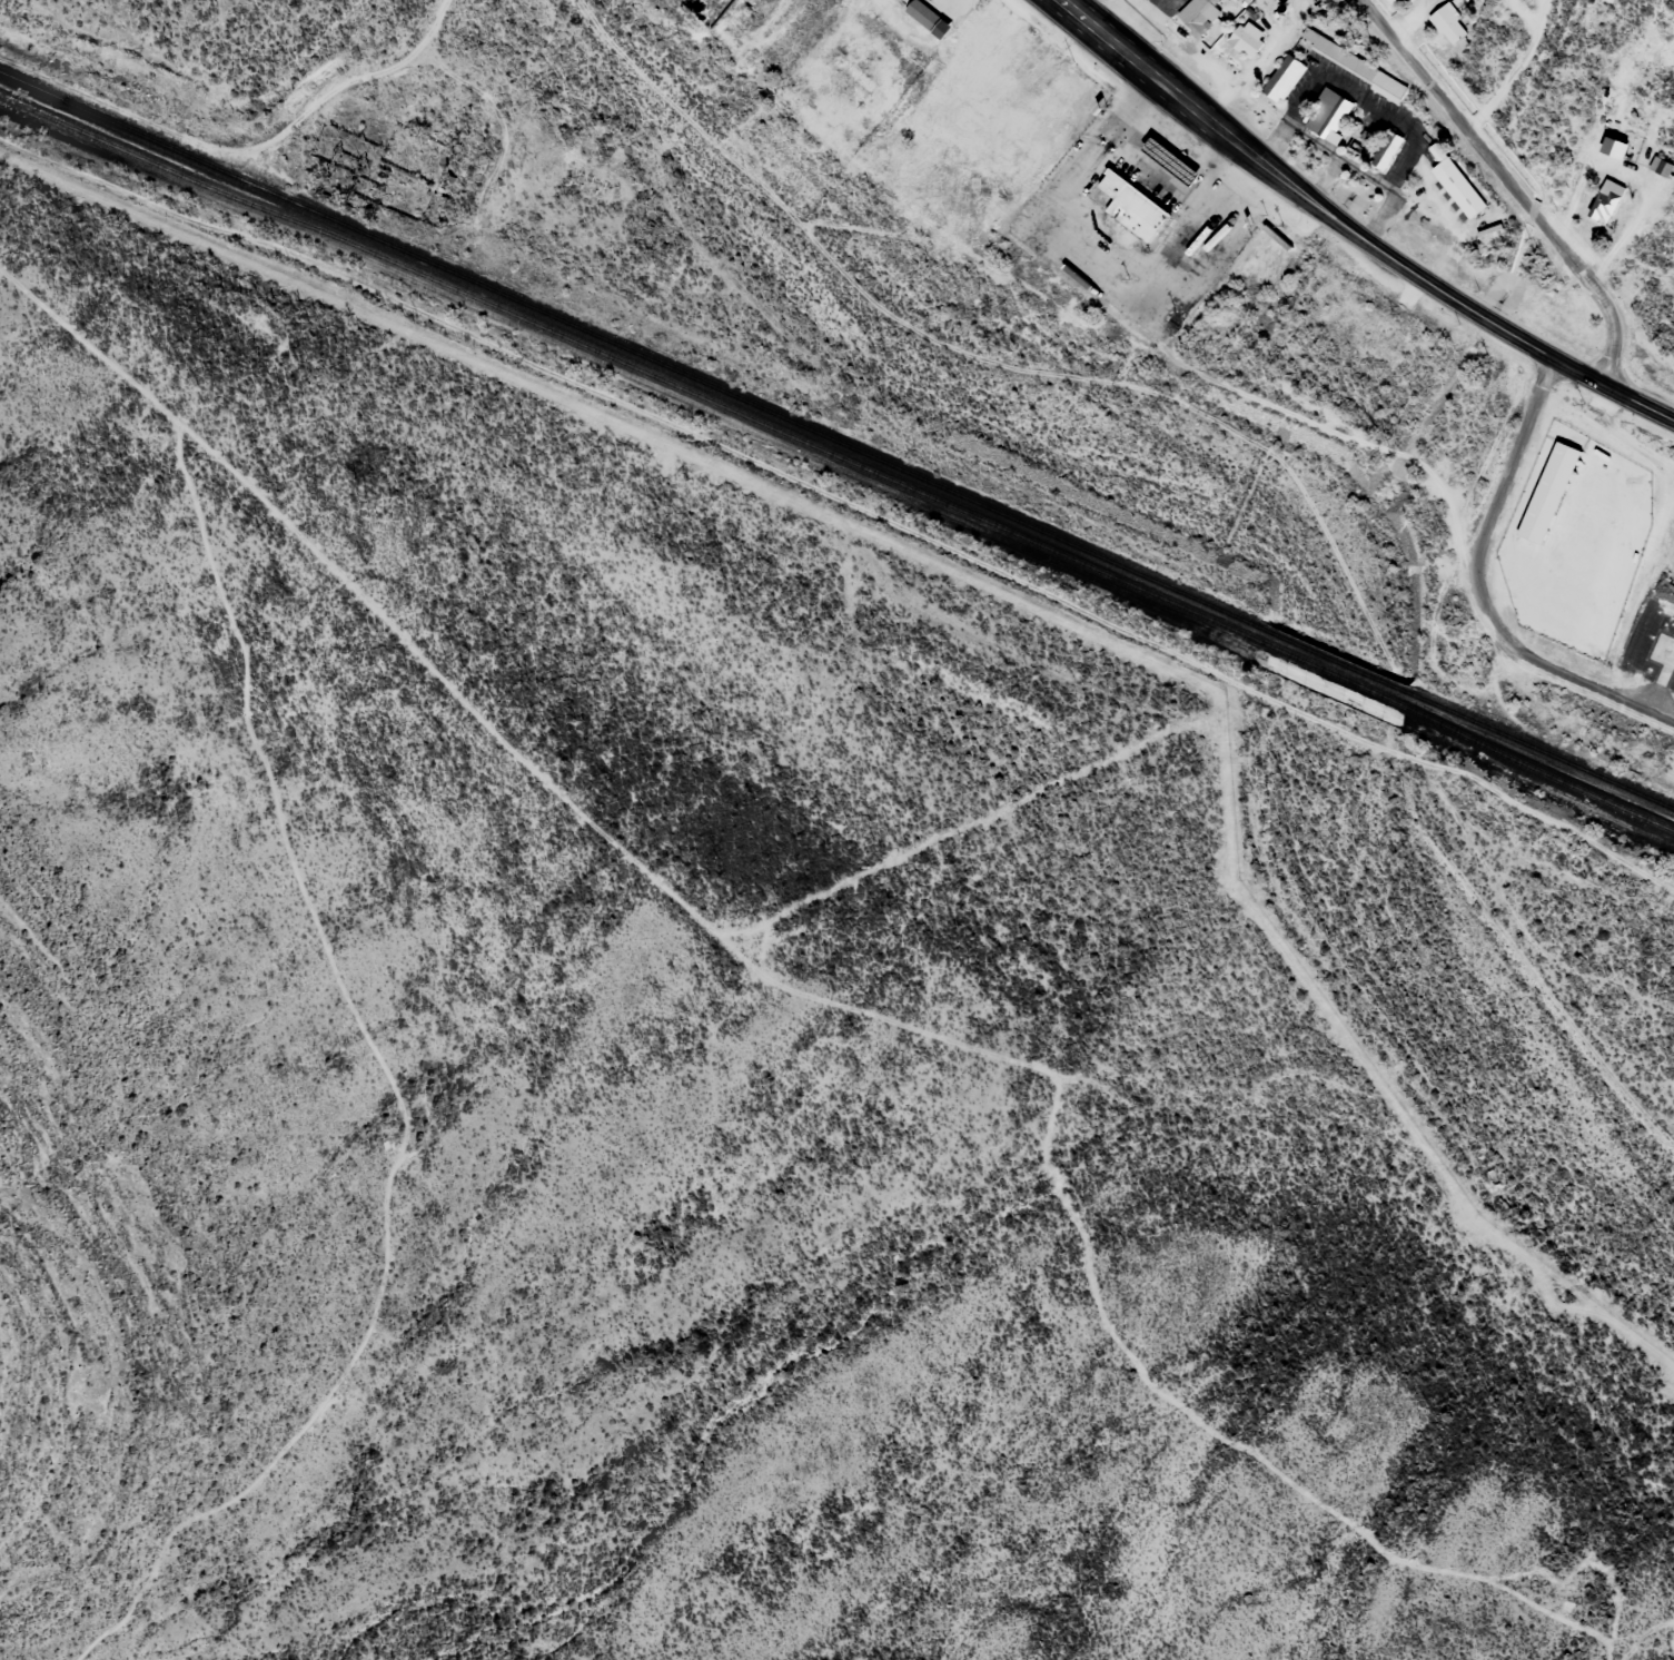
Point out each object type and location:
building: (1195, 16)
building: (923, 17)
building: (1449, 23)
building: (1246, 37)
building: (1339, 93)
building: (1614, 147)
building: (1165, 161)
building: (1661, 166)
road: (1512, 185)
building: (1460, 190)
building: (1606, 200)
building: (1123, 210)
road: (1351, 233)
railway: (633, 349)
railway: (636, 367)
road: (1503, 490)
building: (1549, 494)
railway: (1337, 662)
railway: (1339, 678)
road: (1578, 681)
railway: (1542, 751)
railway: (1541, 768)

